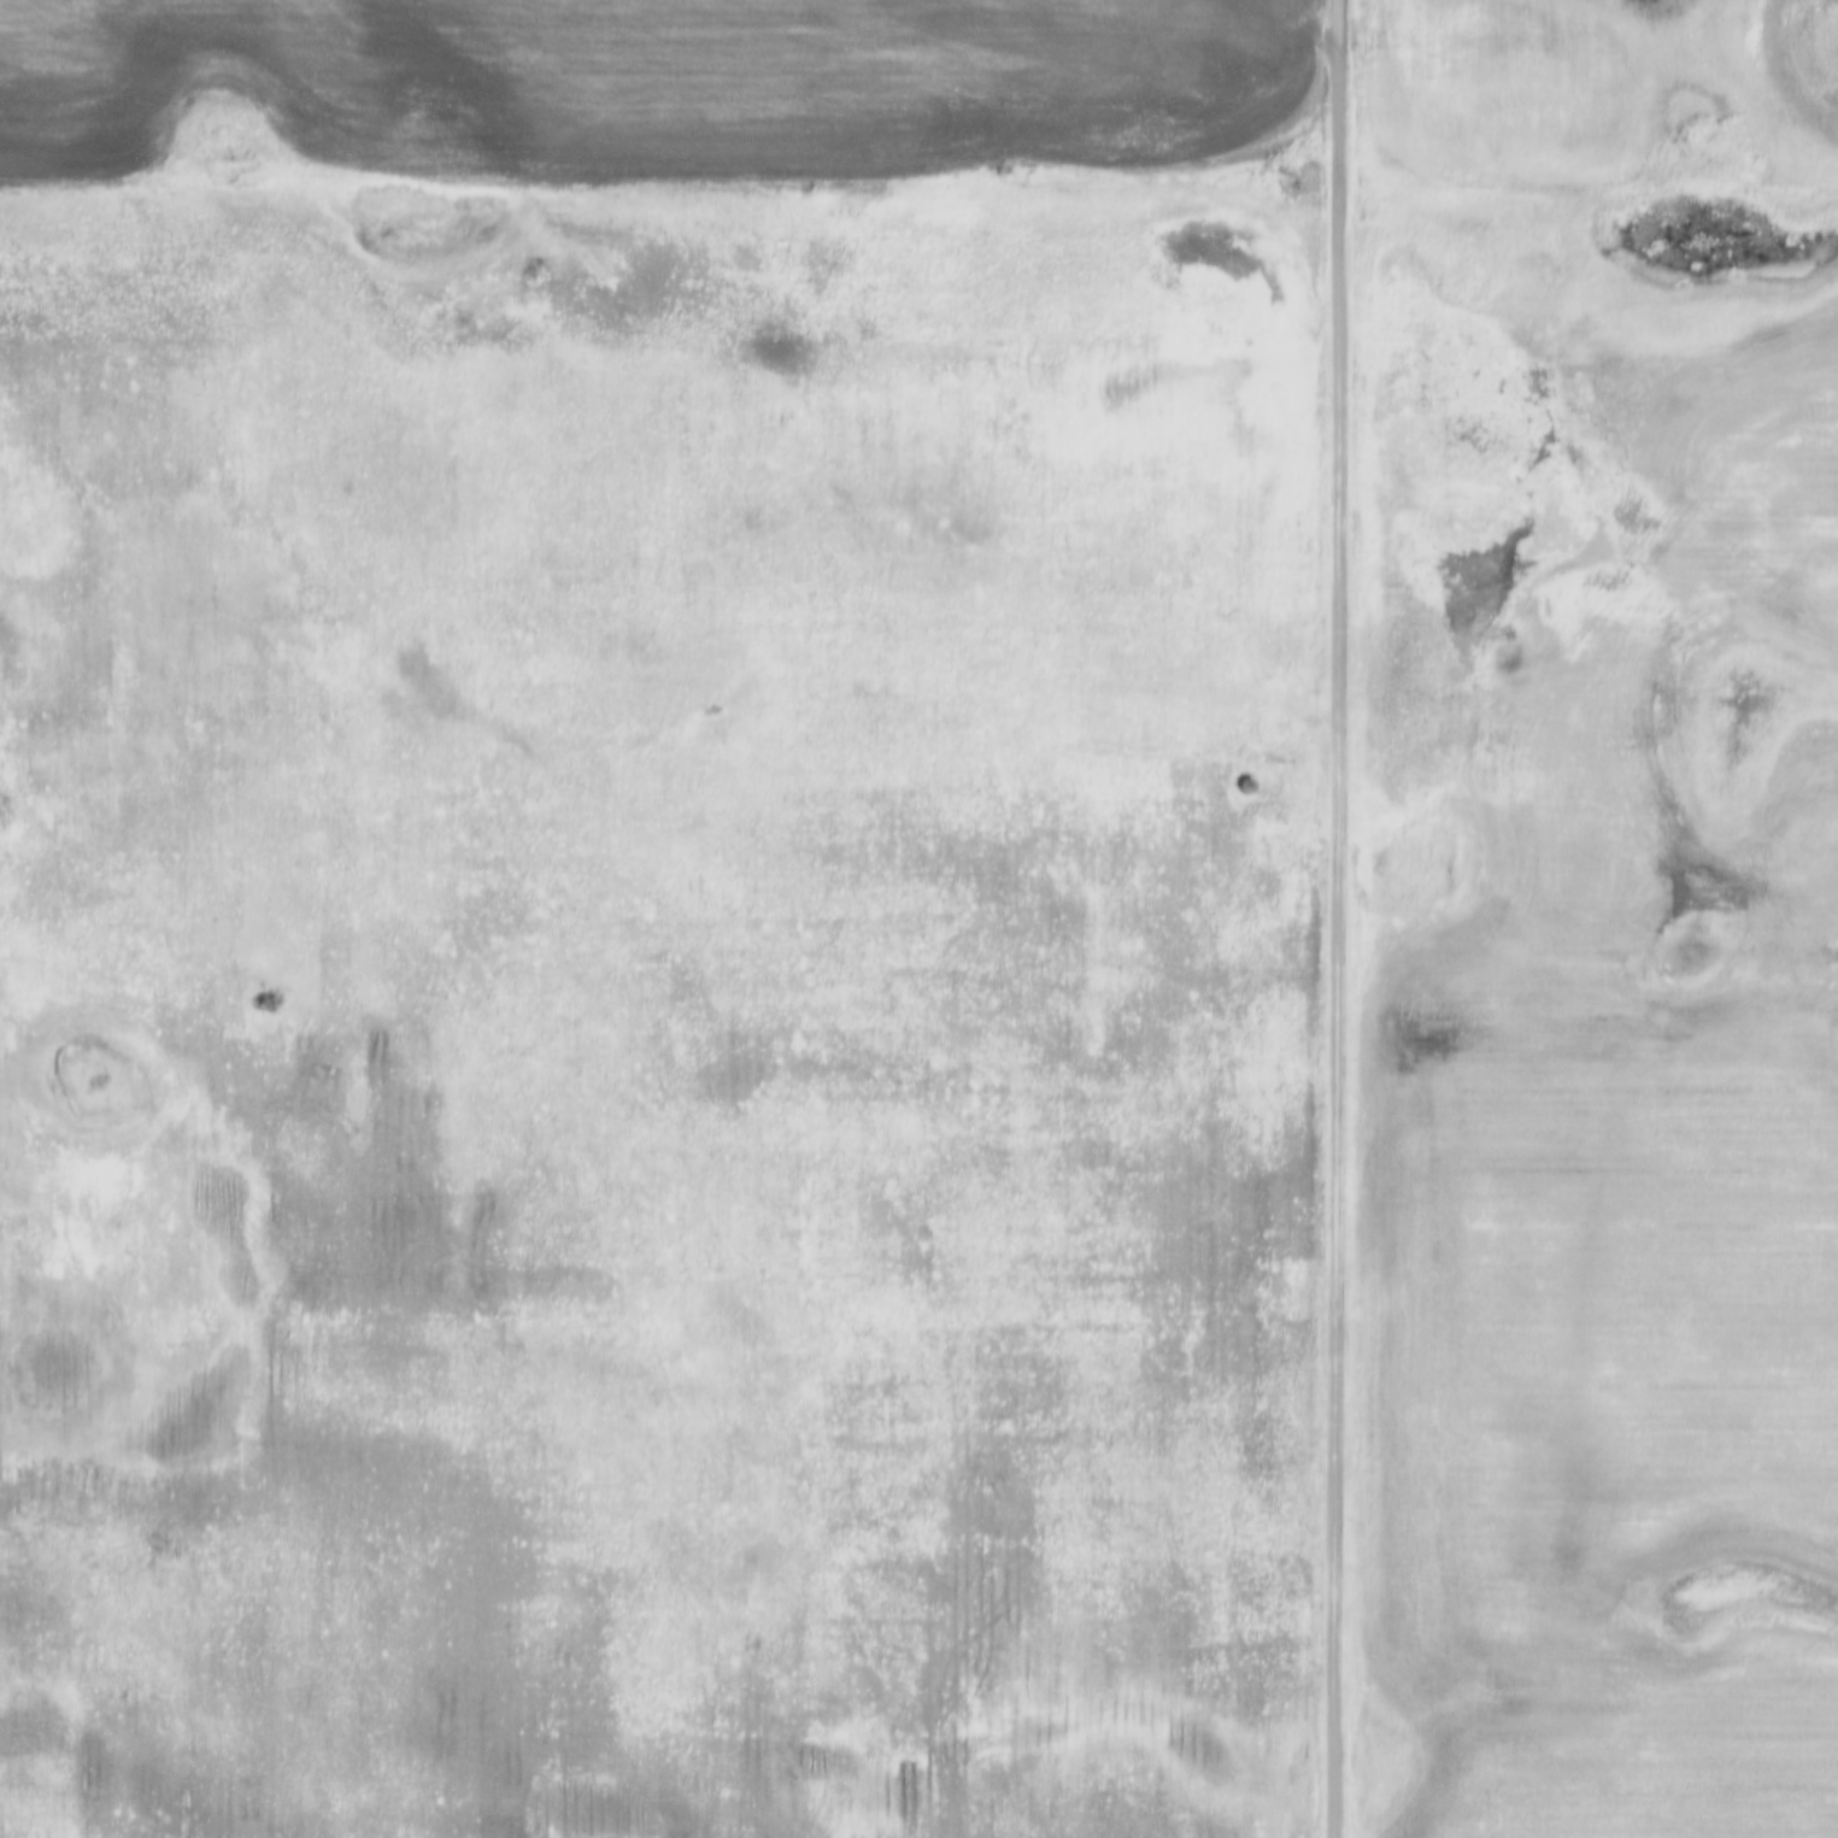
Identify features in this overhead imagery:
building: (1246, 787)
road: (1340, 918)

